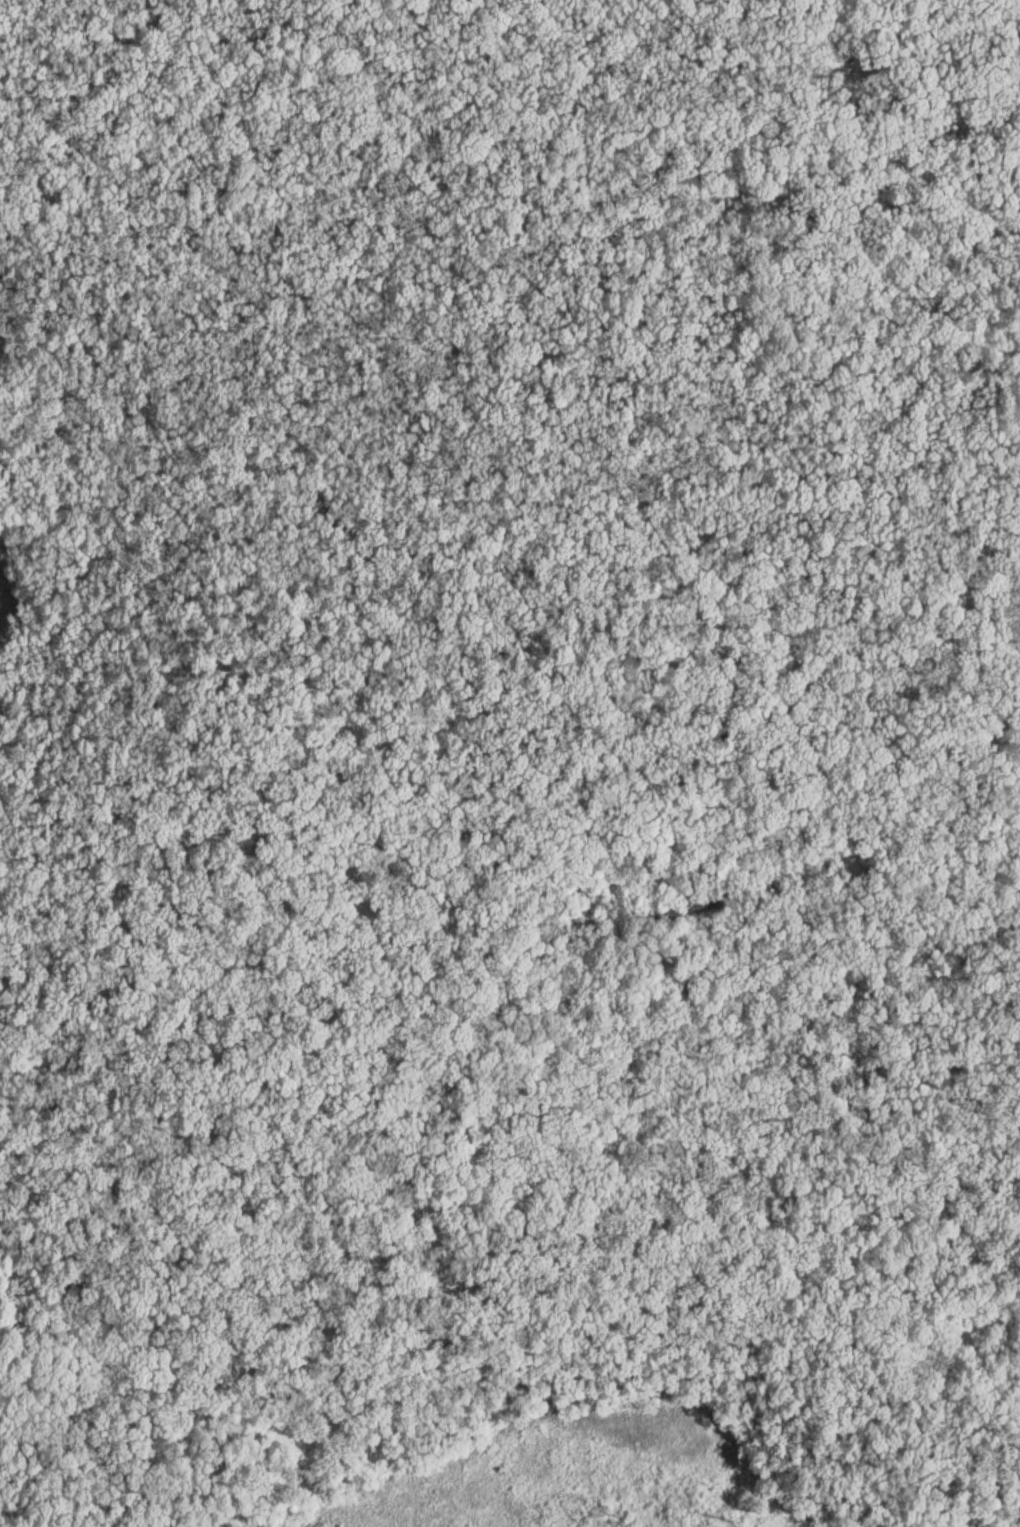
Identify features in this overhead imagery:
road: (513, 285)

